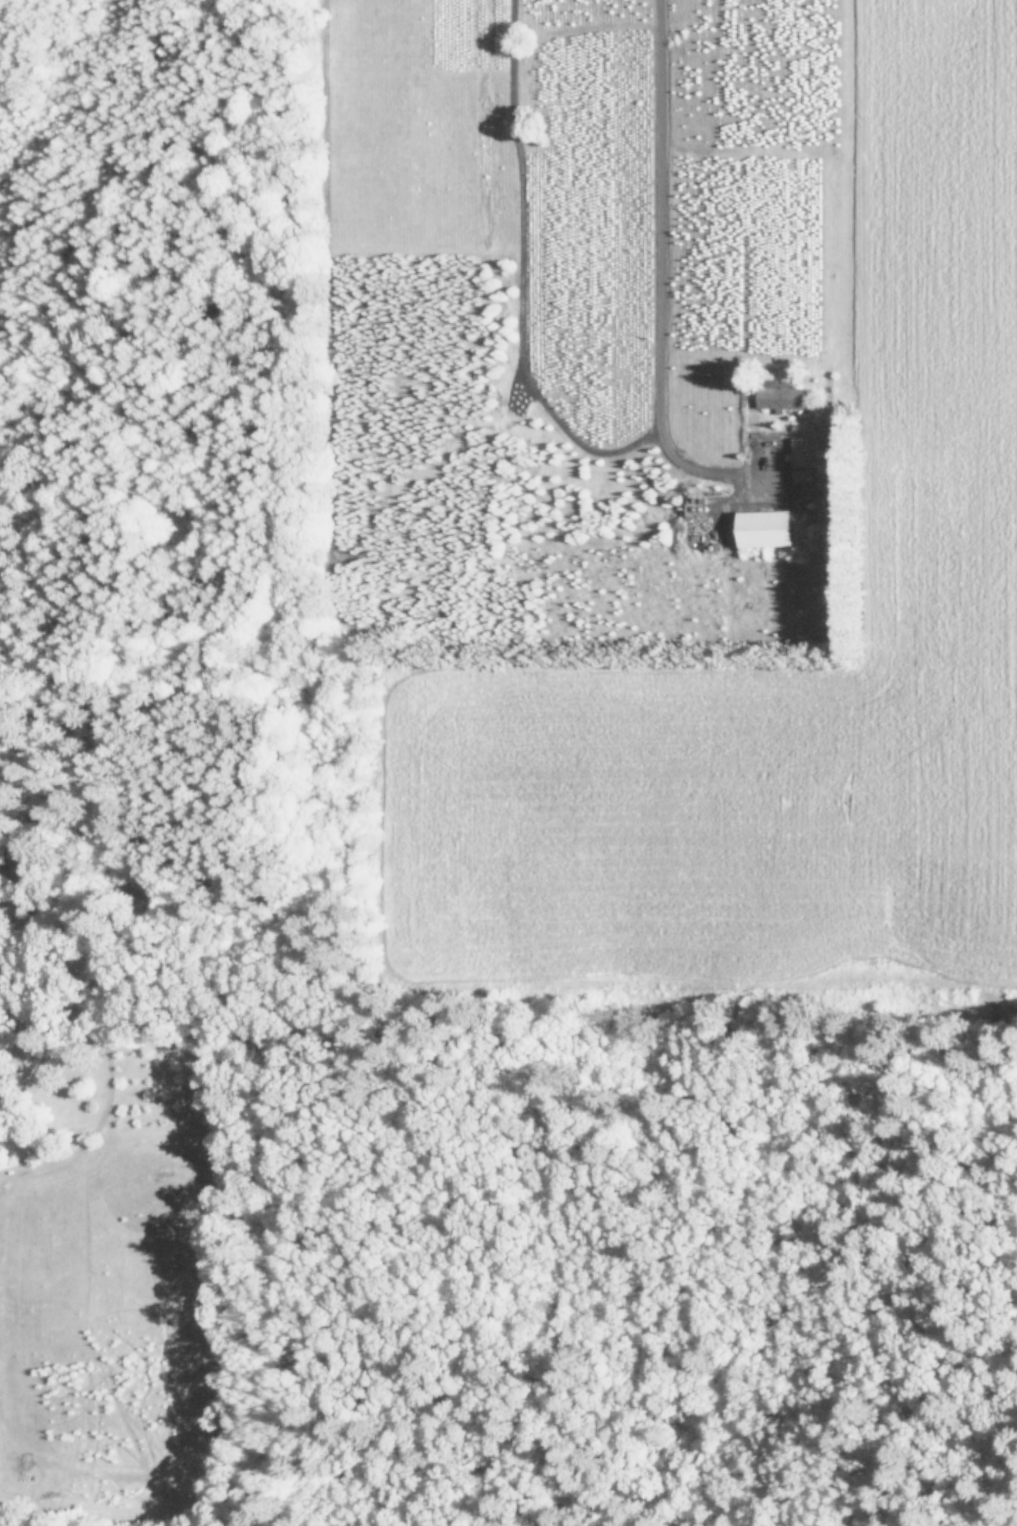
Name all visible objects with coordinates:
road: (513, 277)
road: (656, 283)
building: (786, 396)
building: (773, 528)
road: (84, 841)
building: (35, 864)

